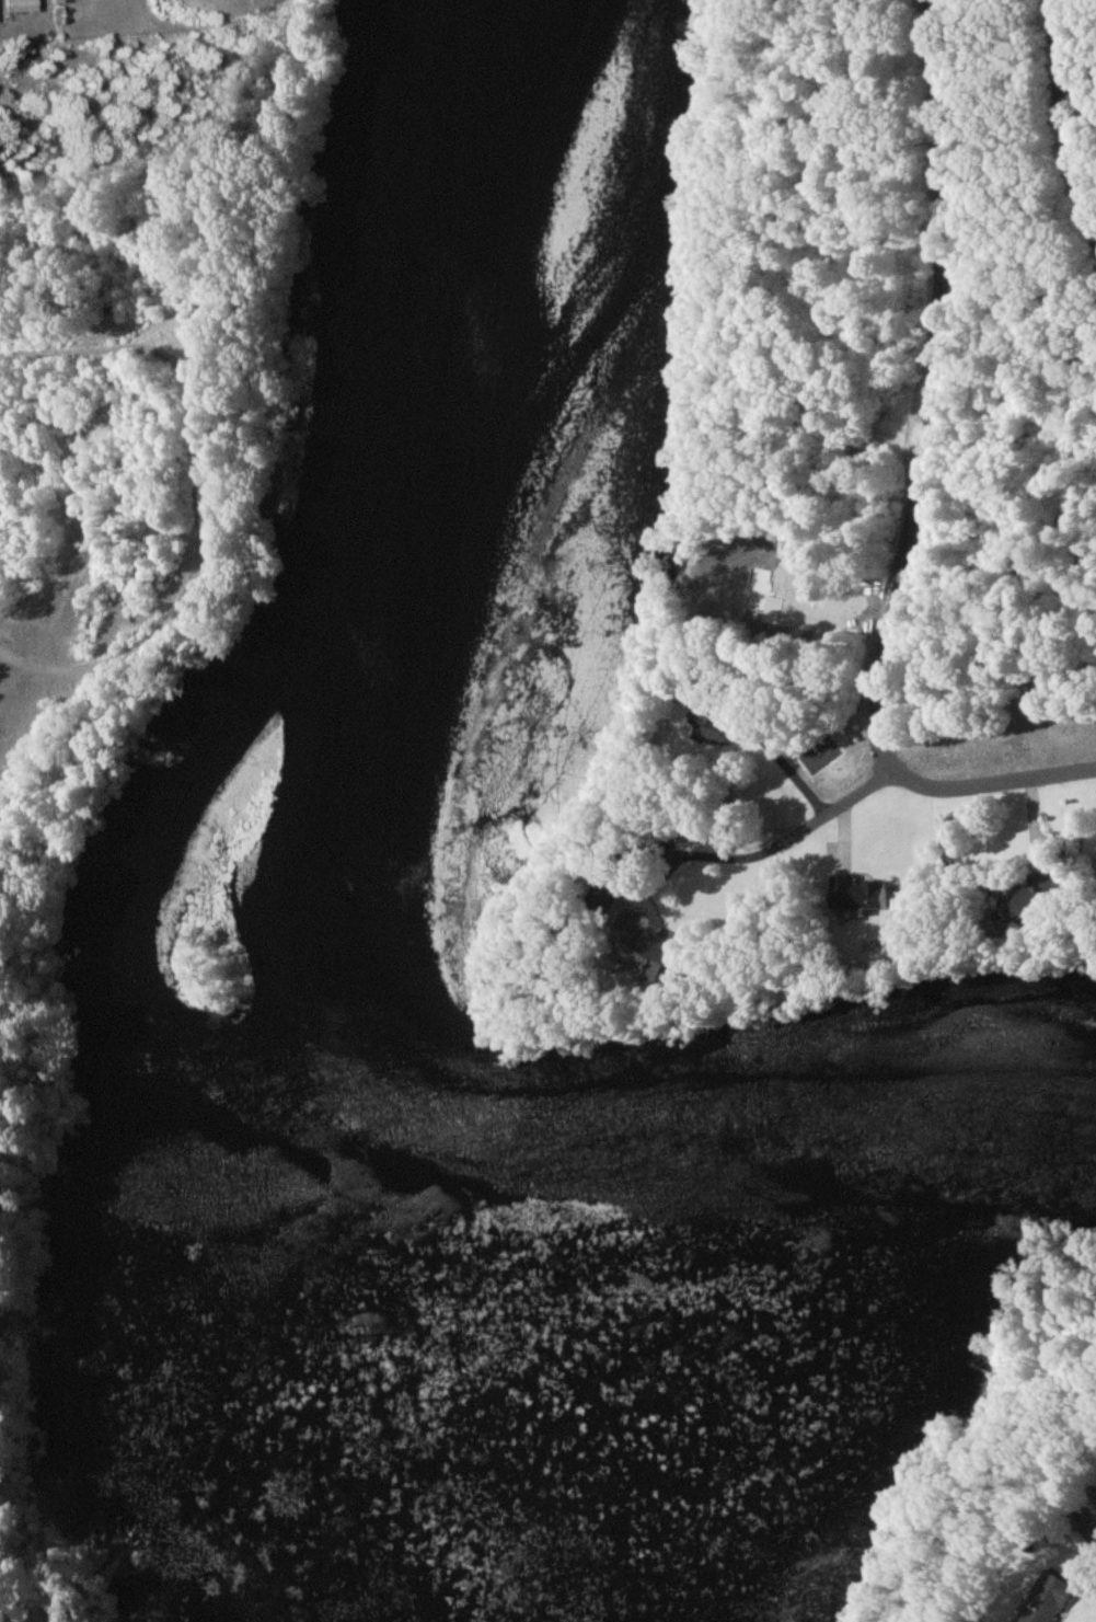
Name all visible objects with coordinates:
building: (1, 0)
road: (1057, 119)
road: (921, 495)
road: (194, 497)
building: (707, 727)
road: (782, 768)
road: (792, 843)
building: (1023, 905)
building: (635, 953)
river: (286, 1142)
building: (1095, 1511)
building: (1039, 1602)

